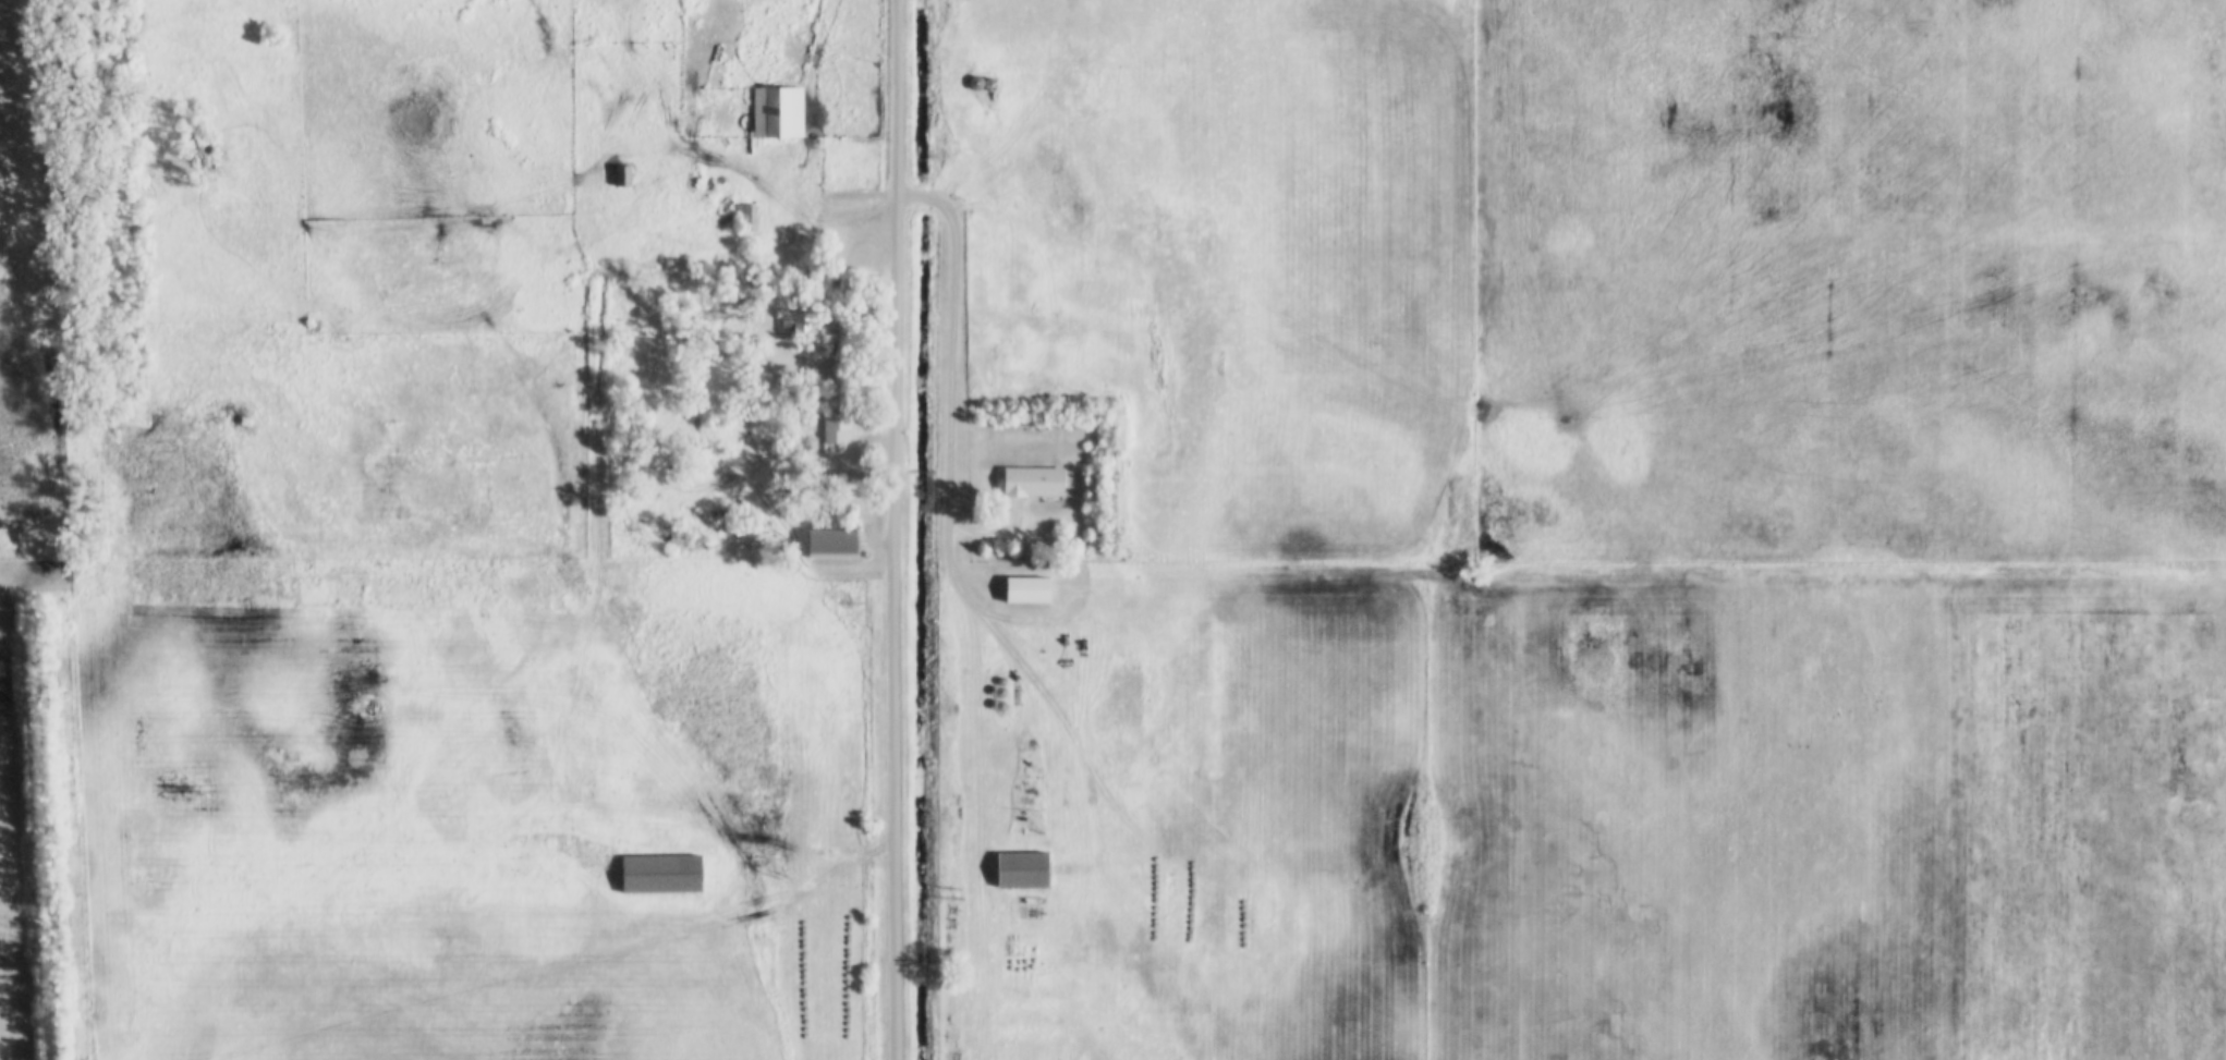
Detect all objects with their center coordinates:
building: (180, 59)
building: (970, 81)
silo: (970, 81)
building: (985, 81)
silo: (985, 81)
building: (774, 110)
building: (620, 174)
building: (717, 184)
road: (905, 194)
road: (922, 195)
road: (777, 197)
building: (745, 216)
road: (880, 226)
road: (841, 252)
building: (791, 324)
road: (950, 399)
building: (834, 417)
road: (881, 438)
road: (900, 472)
road: (921, 472)
road: (942, 473)
building: (1026, 478)
road: (893, 529)
road: (990, 532)
building: (830, 543)
building: (1025, 589)
road: (1093, 813)
building: (1021, 868)
building: (662, 874)
road: (569, 964)

